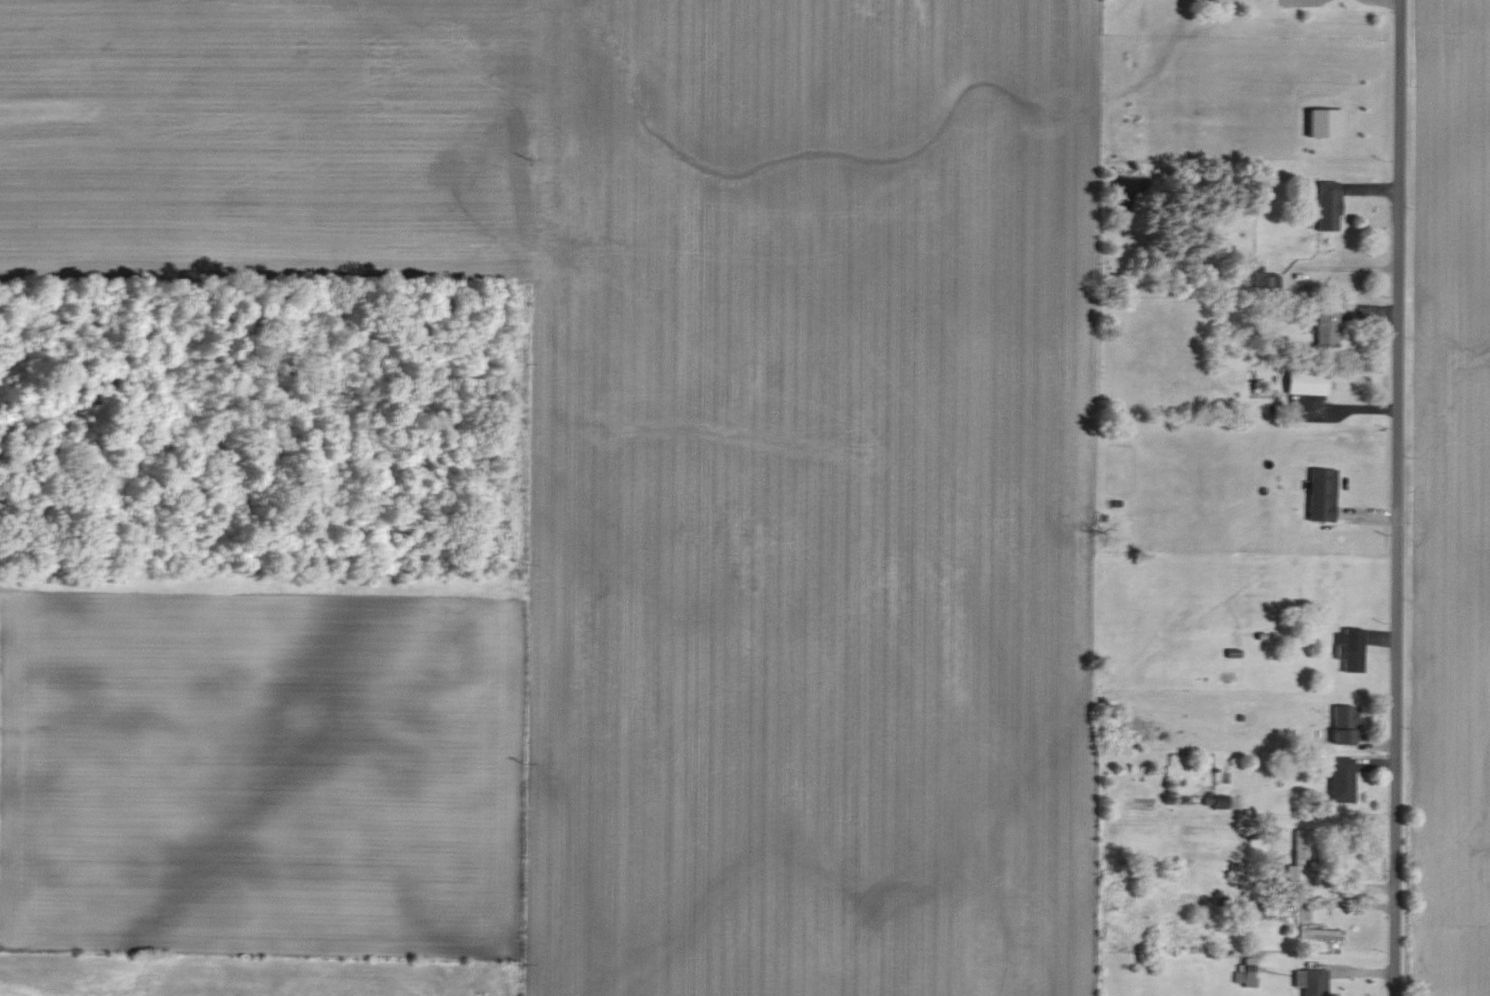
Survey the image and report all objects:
building: (1326, 123)
building: (1324, 207)
building: (1264, 277)
building: (1327, 326)
building: (1306, 383)
building: (1321, 494)
road: (1397, 497)
building: (1351, 649)
building: (1344, 723)
building: (1340, 778)
building: (1301, 854)
building: (1254, 911)
building: (1320, 933)
building: (1246, 973)
building: (1312, 981)

